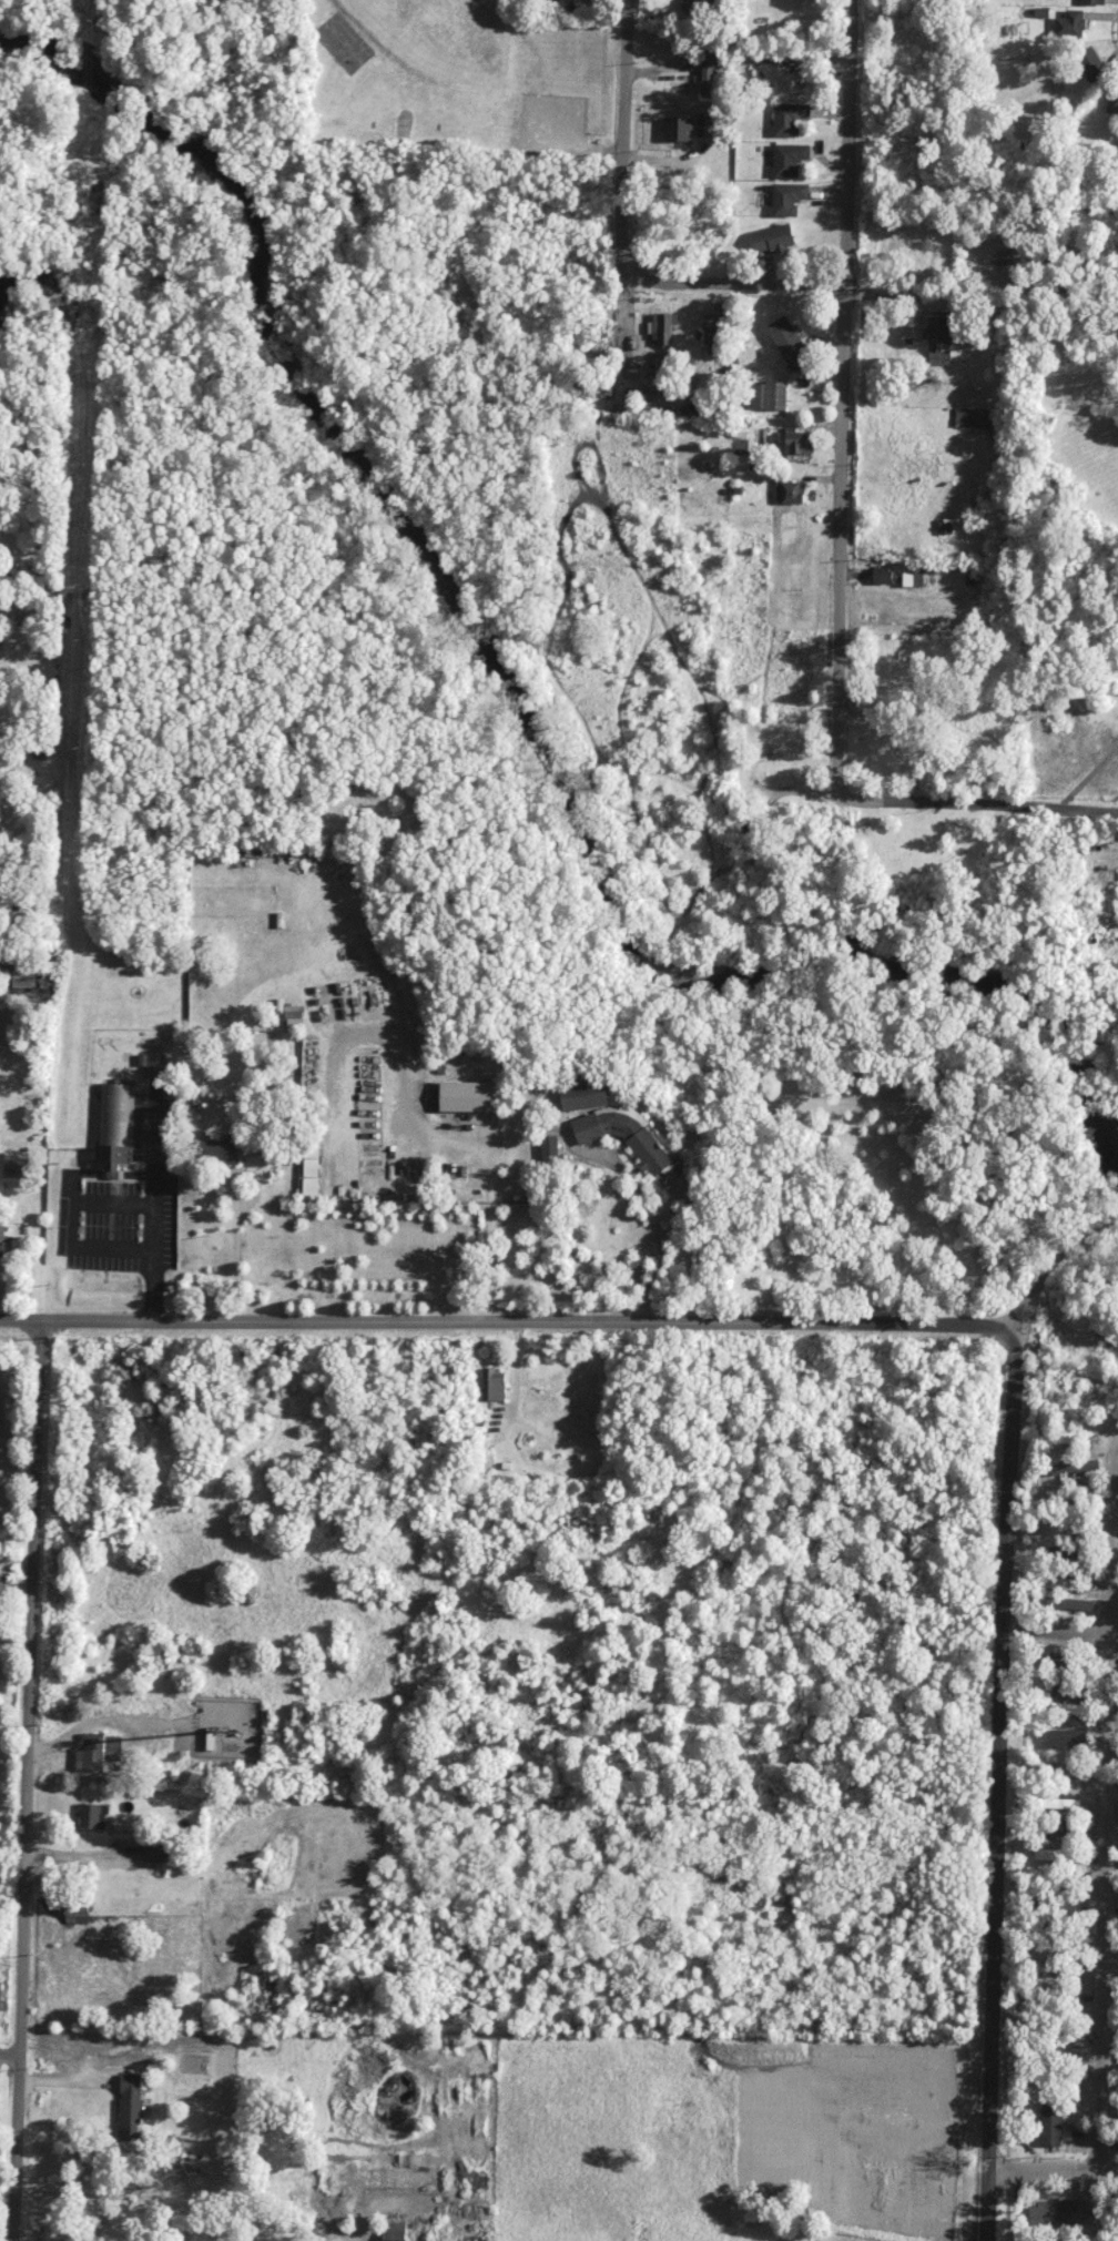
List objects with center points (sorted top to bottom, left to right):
building: (1090, 1)
building: (688, 4)
building: (1069, 23)
road: (1110, 29)
building: (776, 57)
building: (1089, 62)
building: (707, 71)
park: (453, 81)
building: (1111, 98)
building: (789, 116)
building: (704, 123)
building: (678, 128)
road: (621, 135)
building: (789, 158)
building: (789, 197)
building: (773, 237)
road: (736, 285)
building: (662, 327)
building: (938, 338)
building: (789, 342)
building: (746, 354)
building: (769, 394)
road: (844, 400)
building: (975, 417)
building: (797, 440)
building: (789, 491)
building: (882, 574)
building: (912, 577)
river: (519, 710)
road: (977, 804)
building: (23, 972)
building: (294, 1018)
building: (153, 1063)
building: (466, 1095)
building: (583, 1095)
building: (114, 1127)
building: (623, 1134)
building: (549, 1147)
building: (253, 1148)
building: (218, 1149)
building: (17, 1163)
building: (311, 1167)
road: (152, 1210)
road: (658, 1229)
building: (2, 1239)
road: (235, 1250)
road: (1054, 1263)
road: (517, 1321)
building: (492, 1383)
building: (1066, 1436)
building: (1076, 1468)
building: (1066, 1525)
building: (1065, 1552)
building: (1070, 1582)
building: (1069, 1602)
road: (1057, 1631)
road: (29, 1685)
building: (1065, 1707)
building: (1067, 1737)
building: (210, 1738)
building: (98, 1751)
building: (1057, 1770)
road: (999, 1797)
building: (1060, 1802)
road: (1104, 1806)
building: (93, 1815)
building: (1057, 1829)
building: (153, 1850)
building: (1054, 1854)
building: (77, 1908)
building: (0, 1994)
road: (10, 2051)
building: (130, 2106)
building: (1050, 2123)
road: (18, 2147)
road: (1053, 2169)
building: (1053, 2214)
building: (393, 2231)

